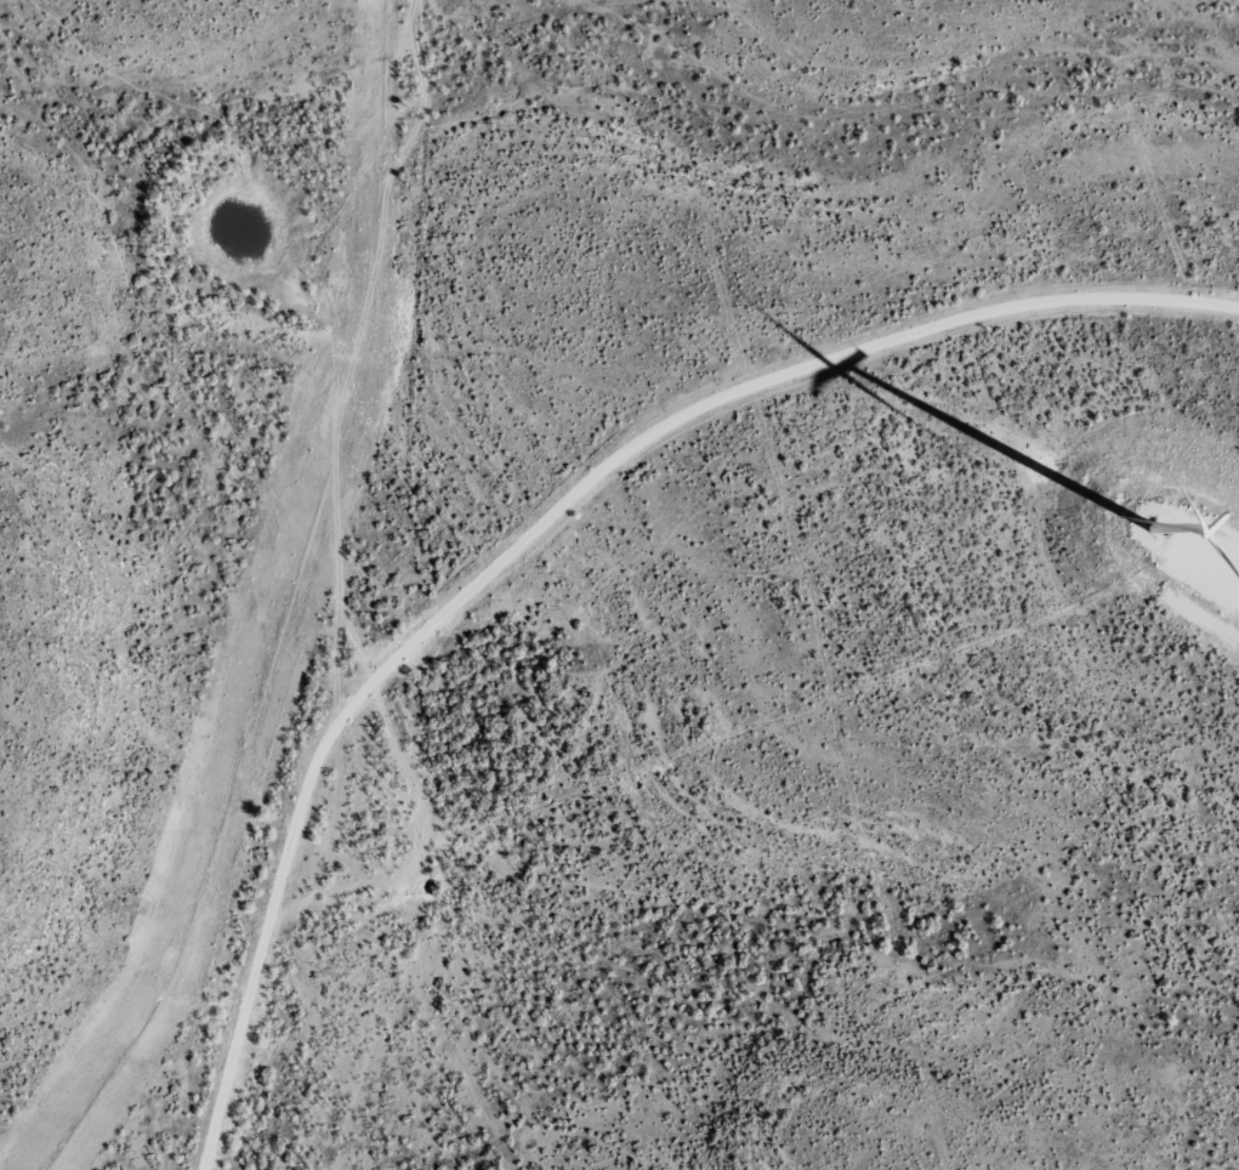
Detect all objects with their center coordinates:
road: (1228, 0)
road: (439, 393)
wind turbine: (1192, 519)
road: (208, 570)

